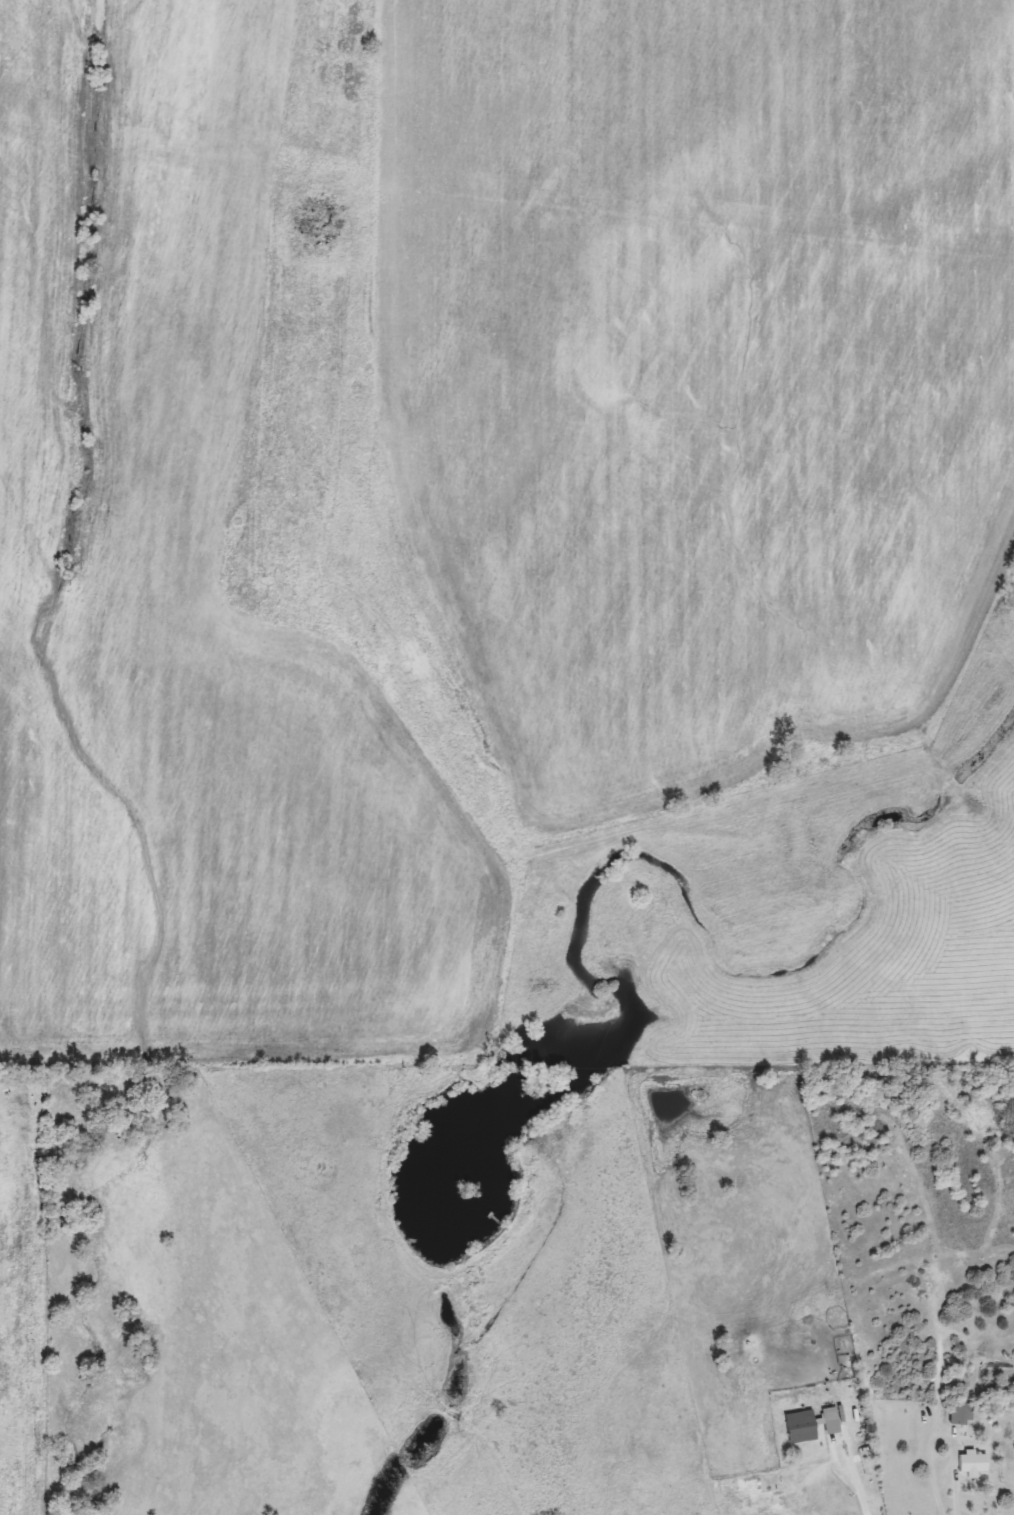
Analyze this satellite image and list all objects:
building: (962, 1413)
building: (926, 1415)
building: (832, 1420)
building: (802, 1426)
building: (975, 1462)
road: (957, 1482)
road: (858, 1484)

